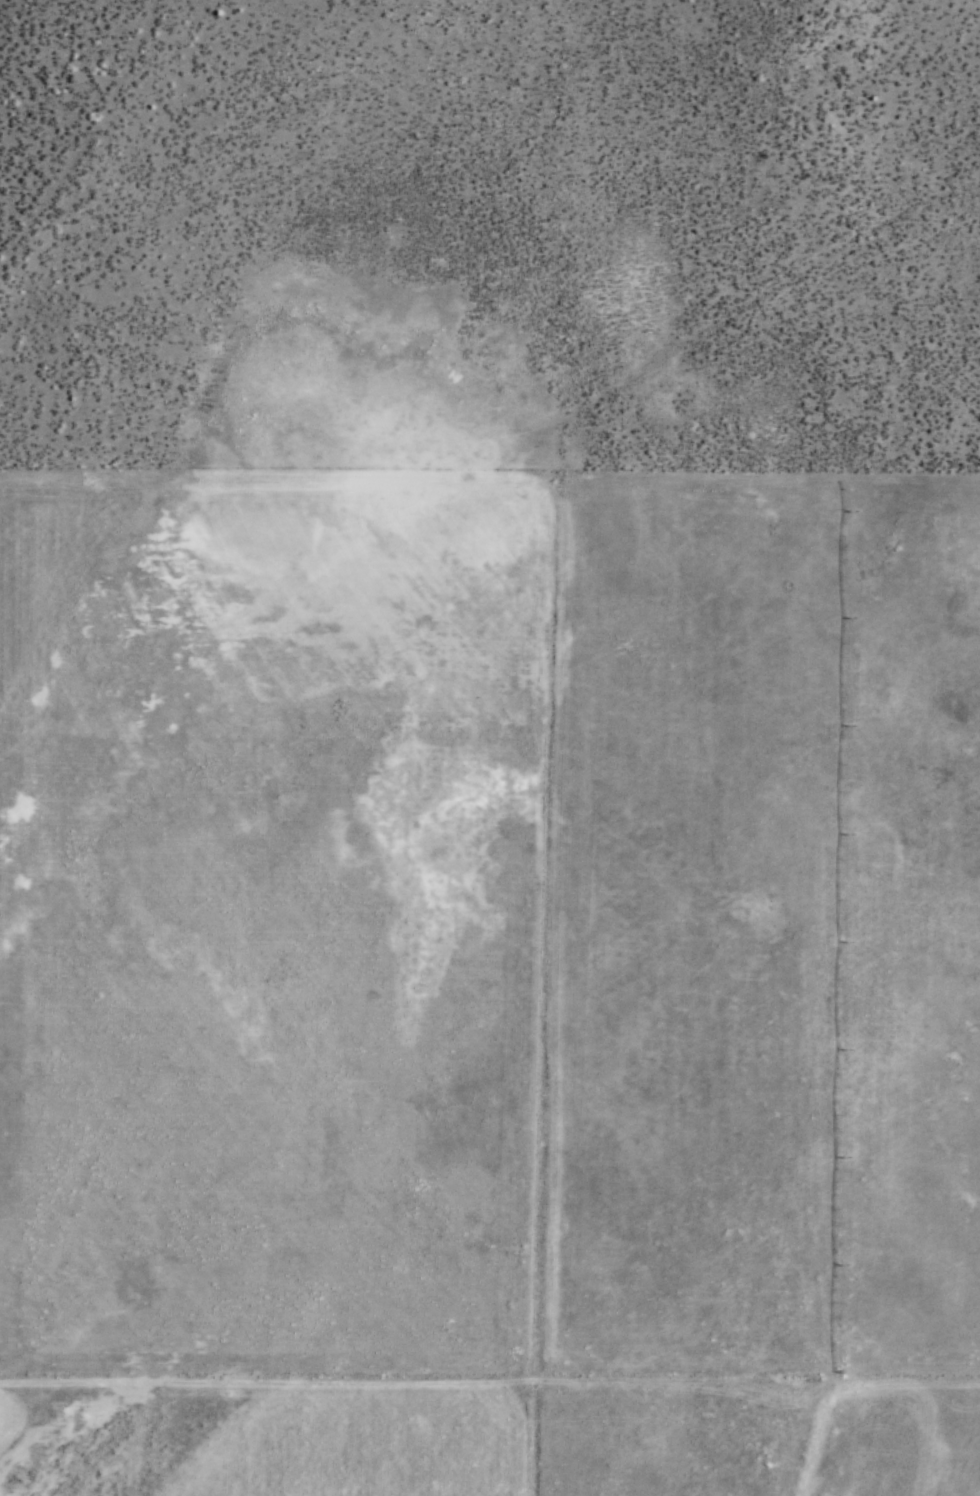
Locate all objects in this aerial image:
road: (701, 1377)

